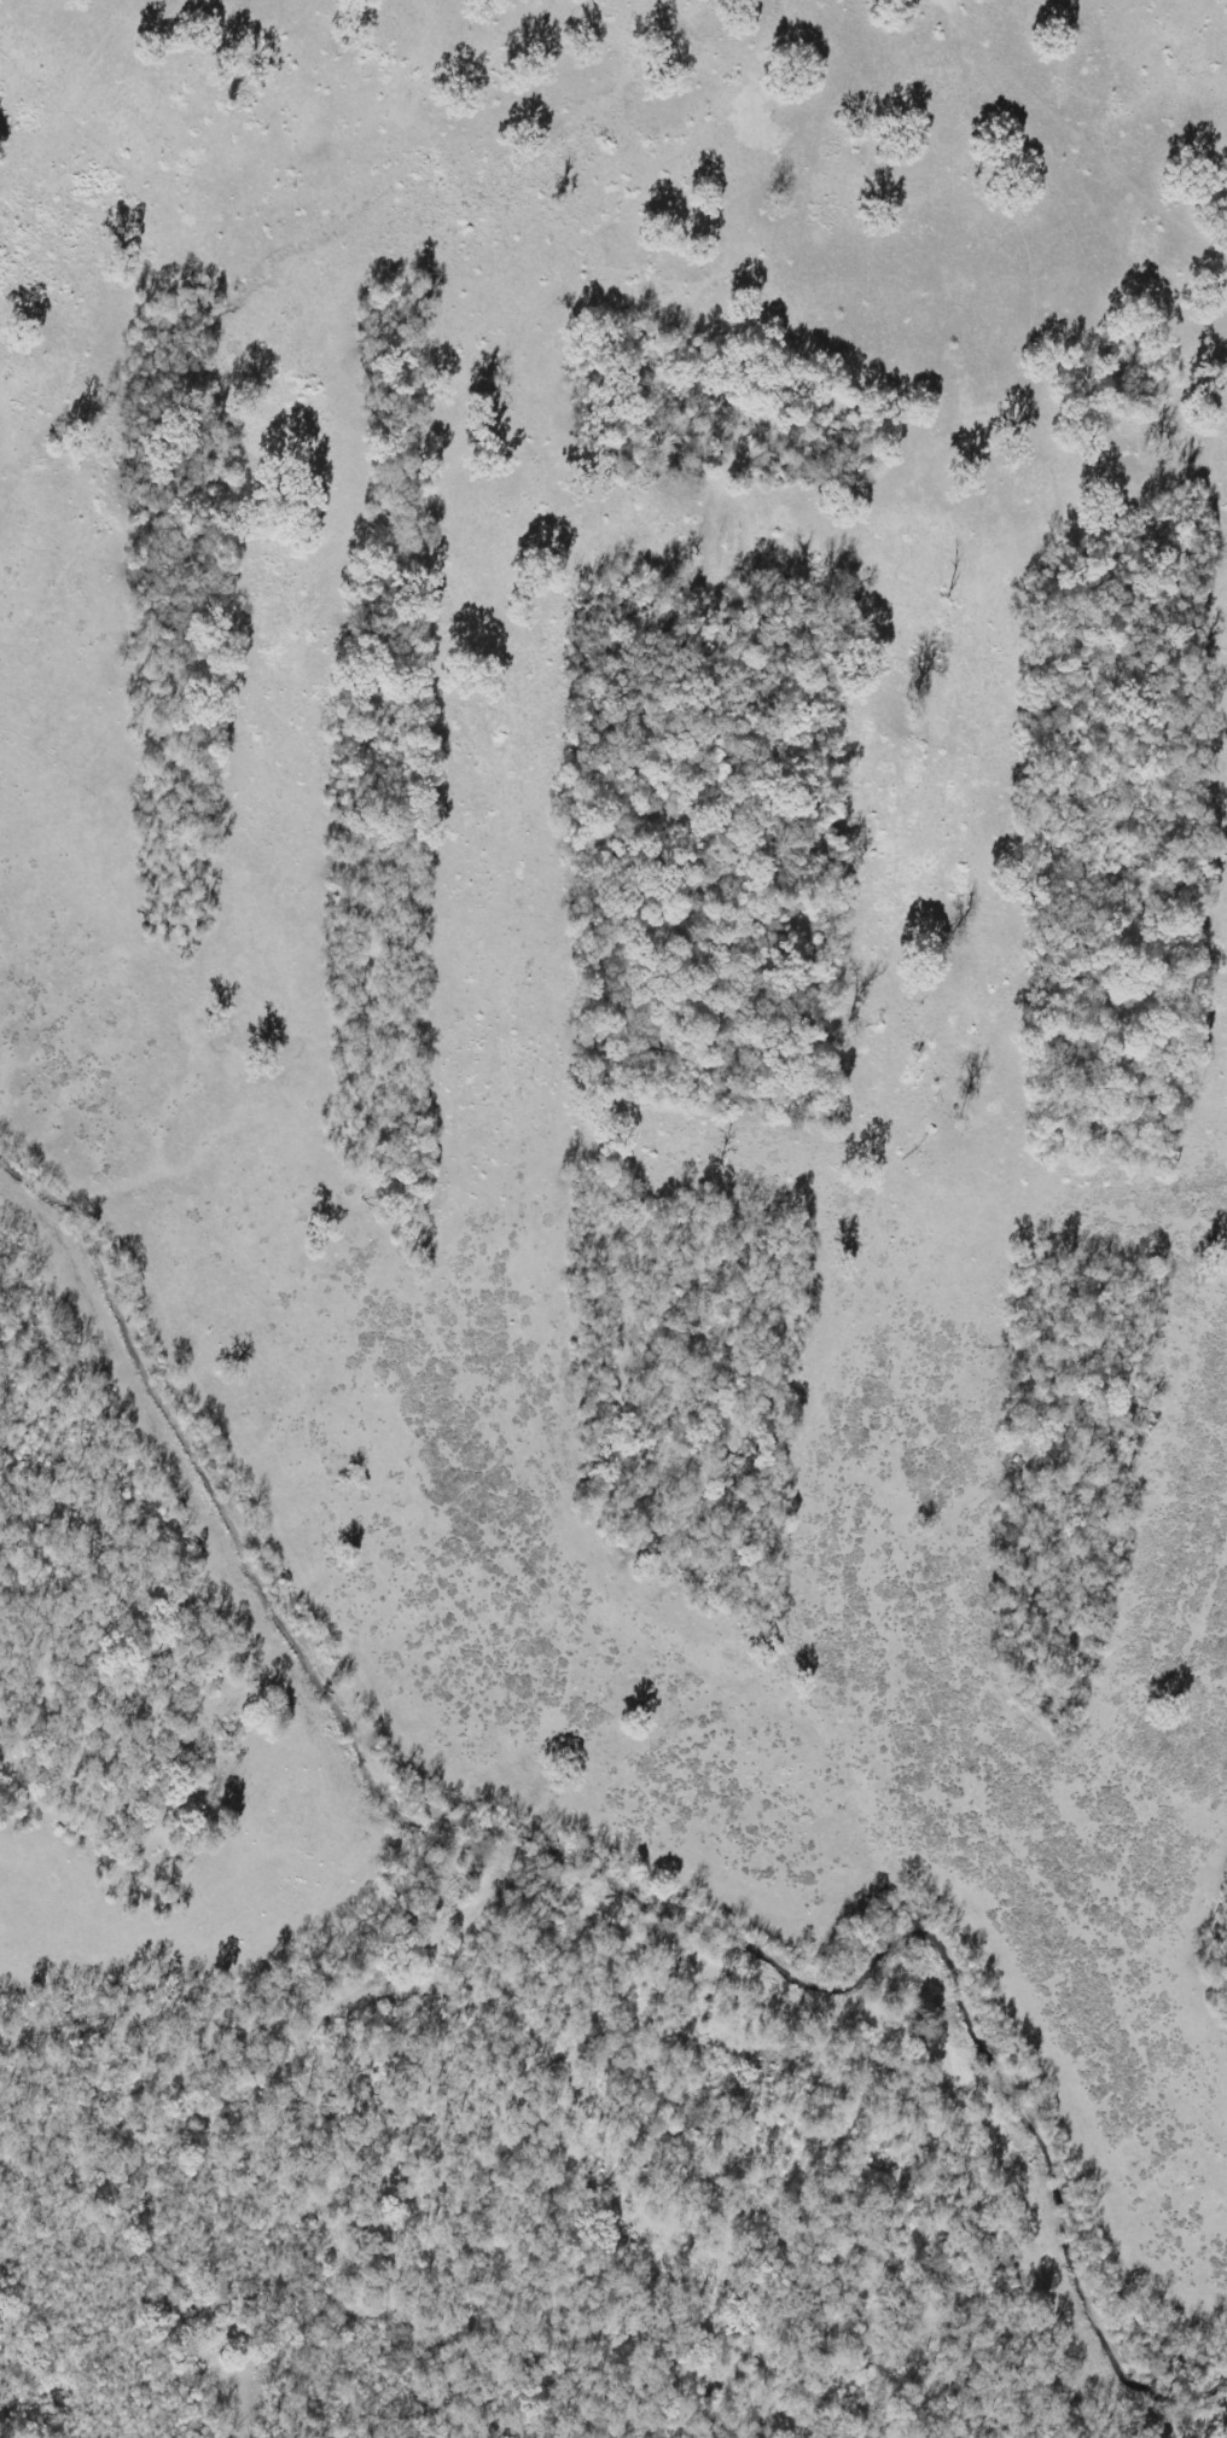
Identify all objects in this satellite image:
river: (585, 1852)

